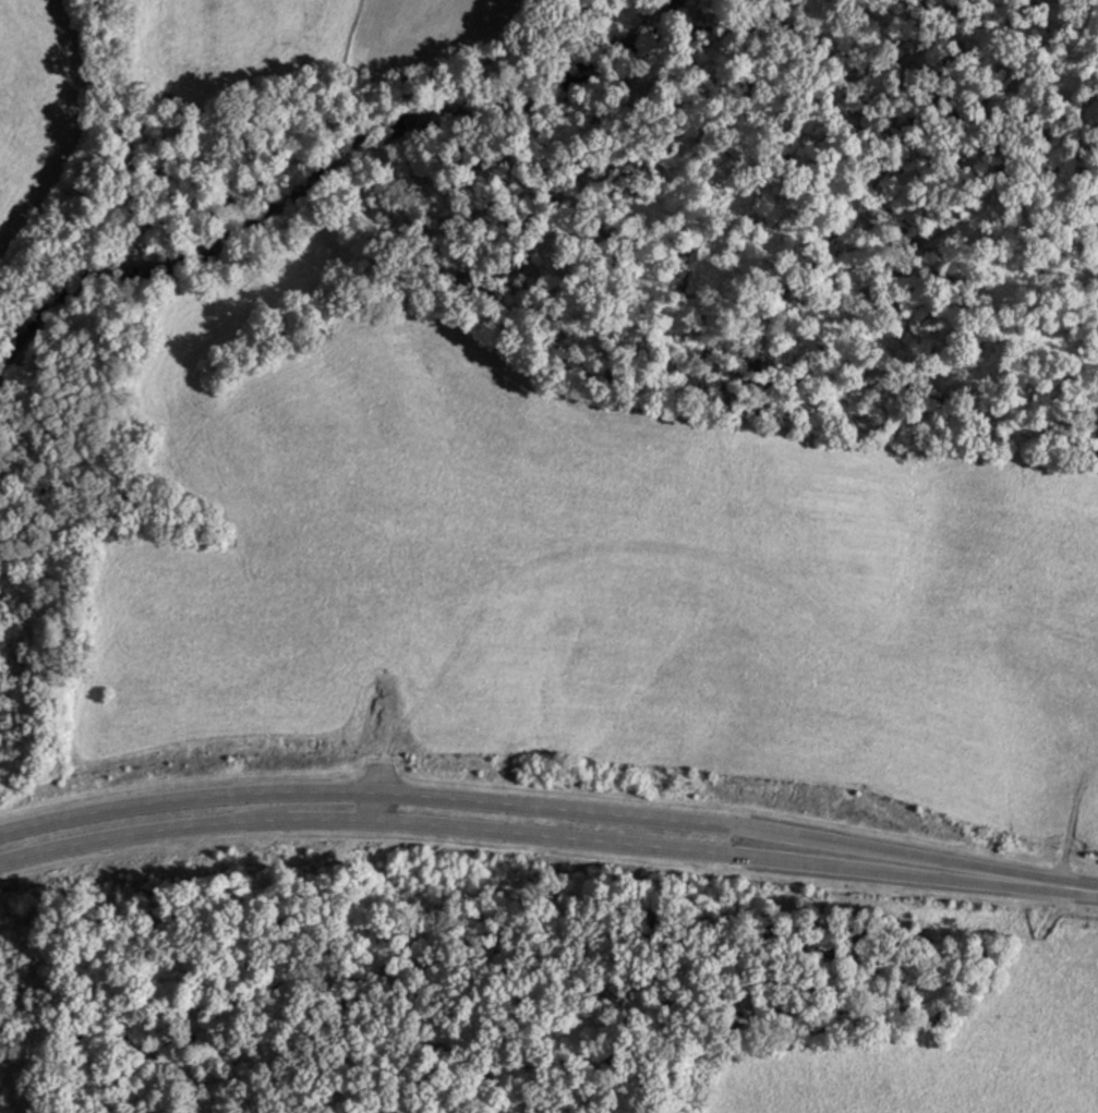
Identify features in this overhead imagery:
road: (484, 798)
road: (482, 825)
road: (1031, 881)

